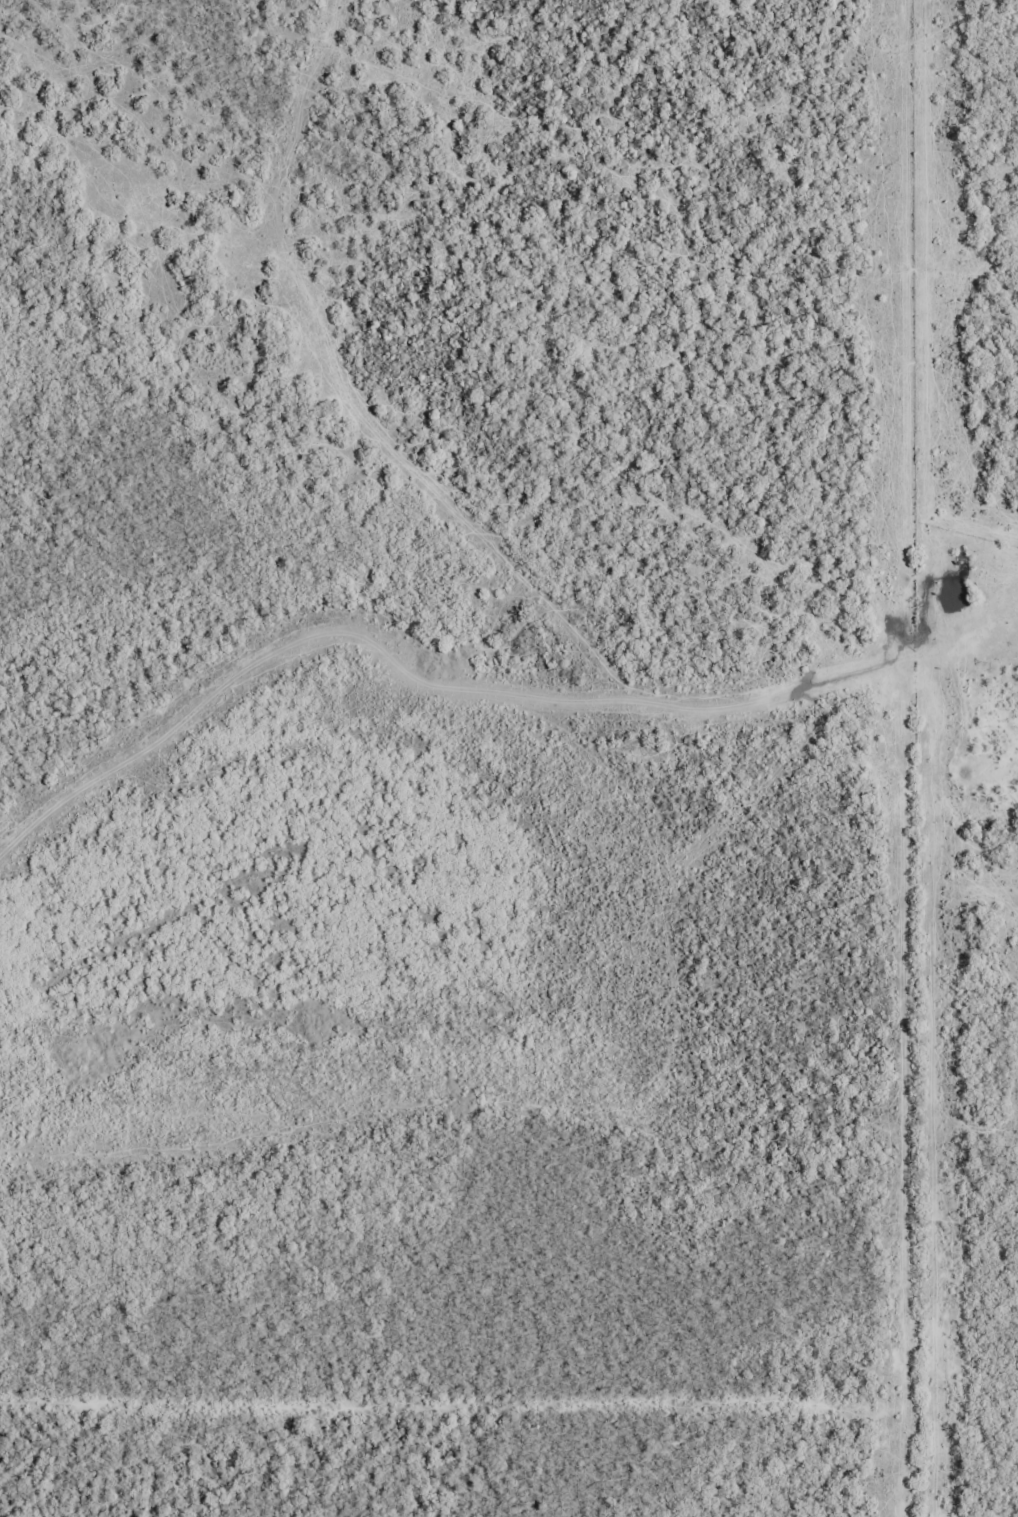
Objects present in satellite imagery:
road: (808, 427)
road: (999, 788)
road: (935, 1091)

